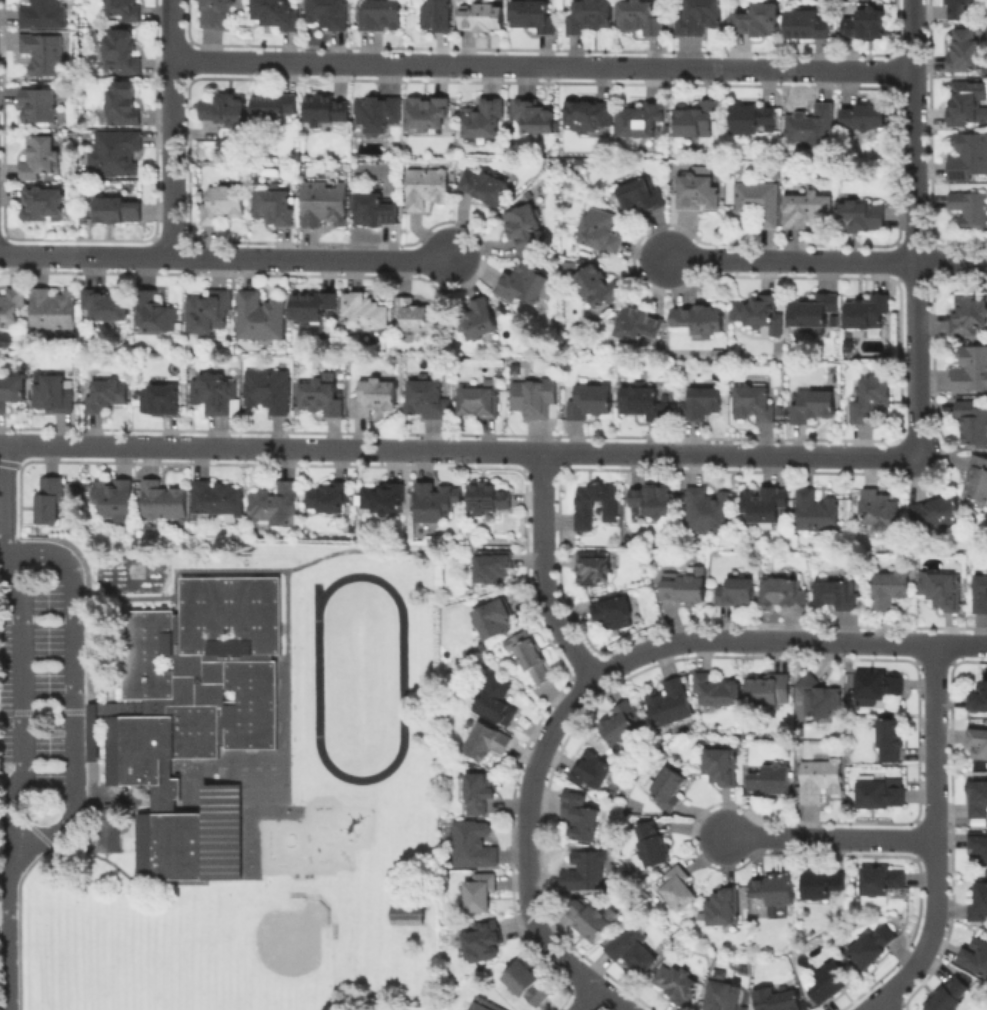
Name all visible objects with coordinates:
building: (960, 9)
building: (125, 10)
building: (44, 15)
building: (216, 15)
building: (277, 15)
building: (328, 15)
building: (534, 16)
building: (381, 17)
building: (439, 17)
building: (590, 18)
building: (698, 18)
building: (483, 19)
building: (642, 19)
building: (759, 22)
building: (802, 25)
building: (867, 25)
building: (966, 51)
building: (123, 54)
building: (44, 56)
road: (544, 66)
building: (968, 99)
building: (125, 106)
building: (40, 108)
building: (224, 110)
building: (274, 110)
building: (431, 112)
building: (328, 113)
building: (378, 115)
building: (588, 117)
building: (866, 118)
building: (536, 119)
building: (700, 119)
building: (754, 120)
building: (485, 121)
building: (642, 121)
road: (173, 128)
building: (812, 128)
building: (969, 154)
building: (117, 155)
building: (39, 159)
building: (426, 187)
building: (486, 188)
building: (698, 193)
building: (637, 194)
building: (756, 203)
building: (44, 204)
building: (223, 204)
building: (322, 205)
building: (274, 208)
building: (970, 210)
building: (809, 211)
building: (376, 212)
building: (119, 213)
building: (861, 217)
road: (915, 227)
building: (525, 228)
building: (606, 231)
road: (226, 258)
road: (827, 261)
building: (524, 286)
building: (598, 287)
building: (11, 305)
building: (107, 306)
building: (312, 308)
building: (813, 311)
building: (54, 314)
building: (209, 314)
building: (365, 314)
building: (156, 315)
building: (868, 315)
building: (417, 316)
building: (757, 316)
building: (968, 317)
building: (261, 318)
building: (699, 320)
building: (479, 322)
building: (641, 327)
building: (971, 367)
building: (270, 392)
building: (12, 394)
building: (106, 394)
building: (216, 395)
building: (54, 396)
building: (323, 397)
building: (375, 399)
building: (427, 399)
building: (869, 399)
building: (530, 400)
building: (640, 400)
building: (164, 401)
building: (478, 402)
building: (591, 403)
building: (752, 403)
building: (701, 406)
building: (812, 407)
building: (972, 419)
road: (457, 450)
building: (977, 479)
road: (3, 498)
building: (116, 499)
building: (332, 499)
building: (488, 500)
building: (218, 501)
building: (385, 501)
building: (49, 503)
building: (164, 503)
building: (433, 505)
building: (595, 505)
building: (648, 505)
building: (277, 507)
building: (765, 508)
building: (815, 511)
building: (704, 512)
building: (877, 513)
building: (937, 516)
road: (54, 553)
road: (300, 564)
building: (594, 567)
building: (491, 570)
road: (546, 571)
road: (1, 582)
building: (891, 590)
building: (683, 592)
building: (734, 594)
building: (946, 594)
building: (837, 595)
building: (980, 595)
building: (784, 596)
road: (38, 606)
building: (613, 615)
building: (492, 620)
road: (962, 645)
building: (532, 662)
track: (401, 677)
building: (878, 688)
parking lot: (33, 690)
road: (74, 690)
building: (717, 691)
building: (769, 692)
road: (582, 694)
building: (821, 695)
road: (4, 697)
building: (494, 700)
building: (978, 700)
building: (668, 705)
building: (194, 720)
building: (621, 723)
building: (891, 741)
building: (980, 741)
building: (485, 743)
building: (723, 763)
building: (594, 768)
building: (773, 777)
road: (41, 781)
building: (822, 781)
building: (672, 784)
building: (881, 789)
building: (479, 794)
building: (979, 794)
road: (2, 797)
building: (581, 819)
road: (59, 828)
building: (108, 832)
road: (937, 838)
road: (831, 839)
building: (980, 842)
building: (472, 845)
building: (651, 847)
building: (584, 873)
building: (887, 876)
building: (826, 880)
building: (777, 887)
building: (682, 888)
building: (478, 894)
road: (7, 896)
building: (727, 903)
building: (979, 905)
building: (406, 913)
building: (588, 922)
building: (481, 943)
building: (874, 946)
building: (636, 948)
park: (228, 953)
building: (975, 956)
building: (680, 979)
park: (104, 980)
building: (831, 984)
building: (525, 985)
building: (950, 994)
building: (721, 995)
building: (778, 999)
road: (593, 1001)
building: (482, 1004)
road: (884, 1007)

